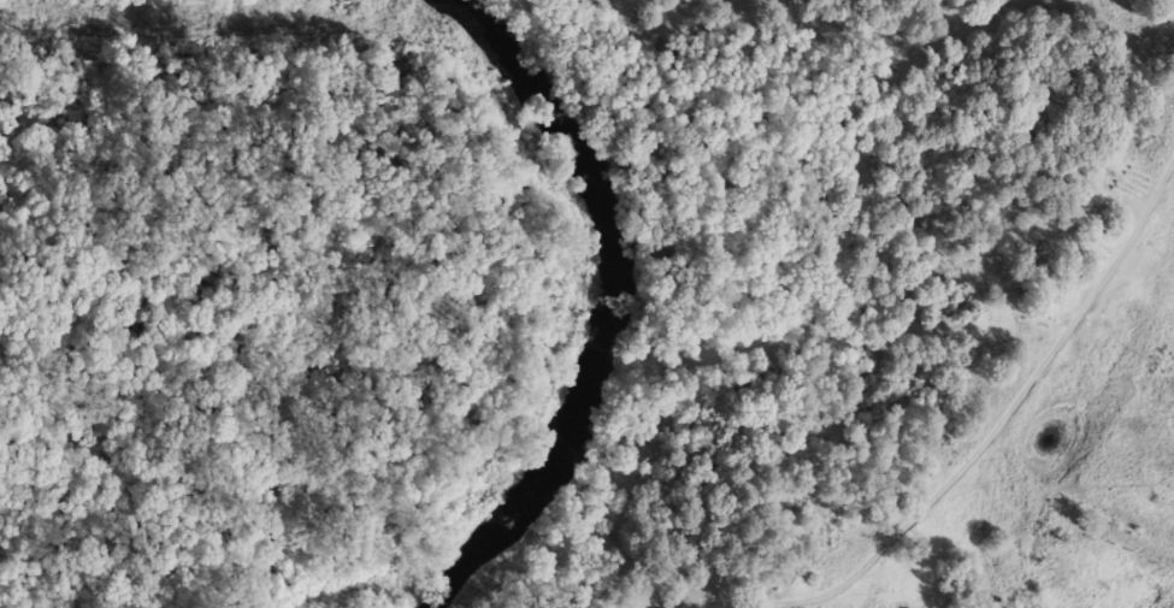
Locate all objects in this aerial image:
road: (927, 373)

